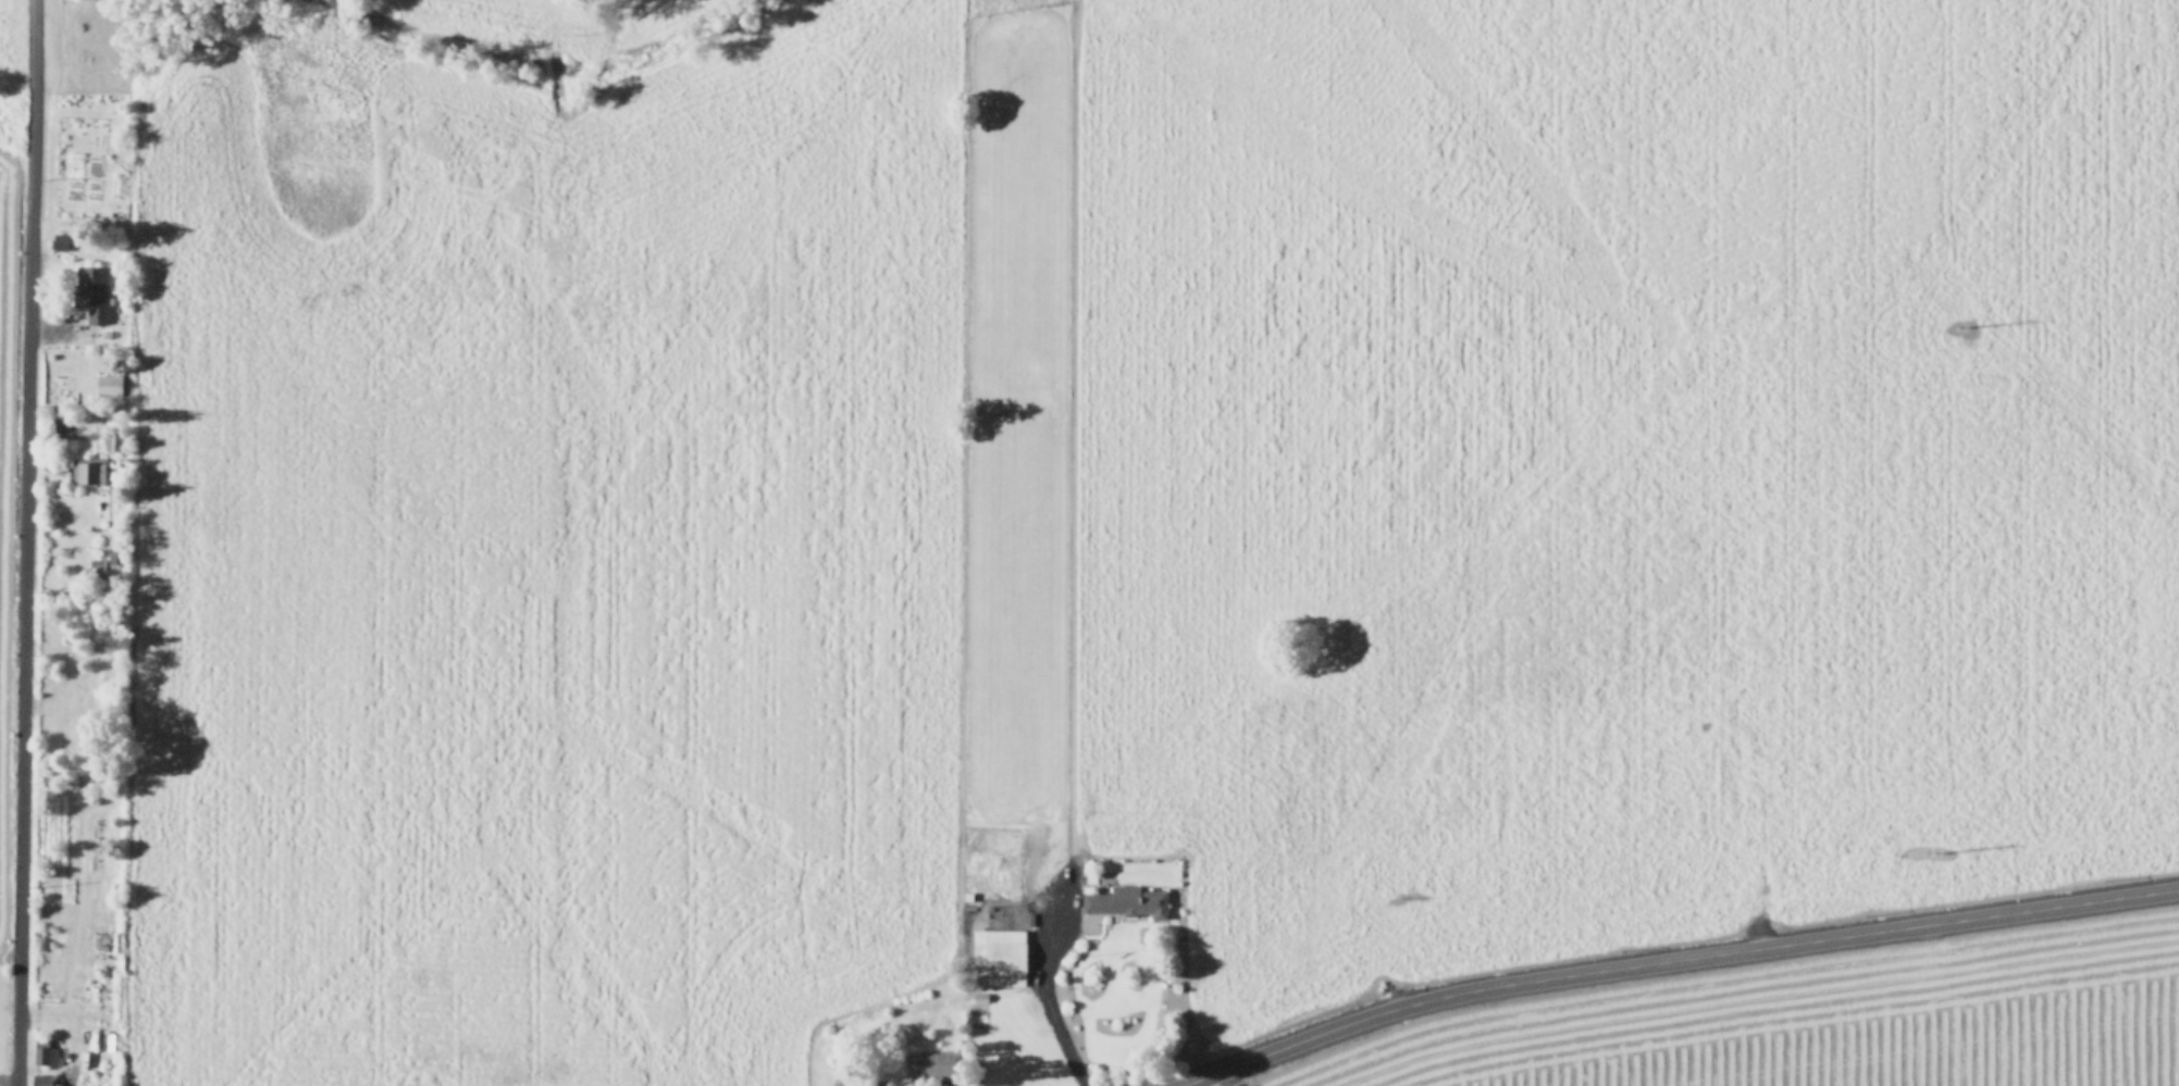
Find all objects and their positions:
building: (59, 239)
building: (90, 289)
building: (107, 383)
building: (111, 439)
building: (86, 467)
crop: (1161, 507)
road: (24, 542)
building: (96, 562)
building: (1127, 900)
building: (998, 956)
road: (1670, 958)
road: (1041, 995)
crop: (1827, 1028)
building: (44, 1052)
building: (937, 1057)
building: (39, 1078)
building: (880, 1085)

